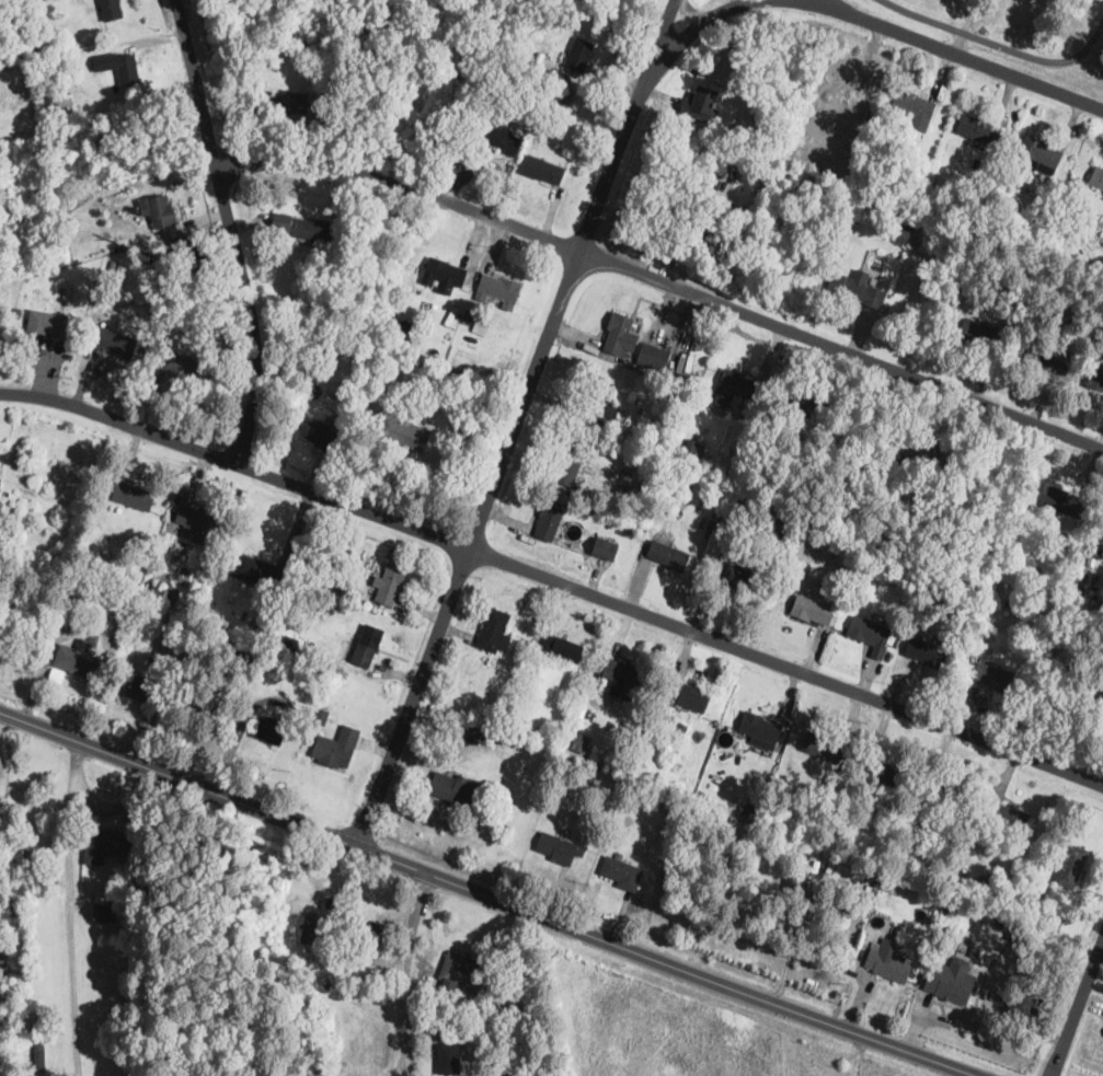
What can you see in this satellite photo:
building: (22, 0)
building: (111, 10)
road: (876, 25)
road: (965, 26)
road: (999, 43)
building: (35, 49)
building: (579, 54)
building: (79, 57)
building: (127, 69)
building: (524, 70)
building: (168, 86)
building: (561, 94)
building: (291, 101)
building: (699, 101)
building: (51, 111)
building: (553, 111)
building: (914, 111)
building: (736, 126)
building: (977, 128)
building: (493, 132)
building: (1042, 154)
building: (906, 157)
building: (976, 162)
building: (915, 163)
building: (543, 170)
building: (710, 177)
building: (1098, 177)
building: (889, 183)
building: (956, 187)
building: (161, 211)
road: (237, 228)
building: (308, 228)
building: (905, 228)
building: (714, 231)
building: (1041, 242)
building: (112, 266)
building: (444, 275)
road: (665, 284)
building: (497, 288)
building: (855, 289)
building: (1060, 304)
building: (292, 308)
building: (16, 311)
building: (450, 314)
building: (468, 316)
building: (47, 322)
building: (480, 326)
building: (404, 331)
building: (979, 332)
building: (618, 334)
building: (115, 342)
building: (467, 349)
building: (653, 357)
building: (1043, 357)
building: (181, 365)
building: (1095, 377)
building: (737, 385)
building: (604, 404)
building: (807, 405)
road: (515, 421)
building: (403, 431)
building: (318, 432)
building: (648, 433)
building: (693, 449)
building: (920, 462)
building: (568, 464)
building: (0, 481)
building: (729, 483)
building: (678, 490)
building: (133, 495)
building: (1064, 501)
building: (892, 508)
building: (549, 519)
building: (195, 520)
building: (713, 520)
building: (731, 530)
building: (893, 532)
building: (10, 534)
building: (605, 548)
building: (668, 556)
building: (1091, 559)
building: (123, 563)
building: (309, 570)
building: (258, 572)
building: (742, 576)
road: (553, 580)
building: (389, 583)
building: (81, 587)
building: (92, 592)
building: (158, 592)
building: (81, 600)
building: (811, 610)
building: (261, 625)
building: (493, 629)
building: (218, 635)
building: (871, 635)
building: (367, 645)
building: (101, 646)
building: (561, 647)
building: (926, 651)
building: (150, 660)
building: (79, 663)
building: (313, 671)
building: (624, 672)
building: (995, 676)
building: (139, 687)
building: (704, 689)
building: (310, 695)
building: (693, 698)
building: (1098, 706)
building: (205, 707)
building: (487, 711)
building: (643, 713)
building: (486, 717)
building: (495, 717)
road: (2, 719)
building: (319, 719)
building: (759, 727)
building: (677, 729)
building: (268, 730)
building: (474, 736)
building: (485, 738)
building: (654, 739)
building: (578, 742)
building: (823, 745)
building: (336, 747)
building: (678, 750)
building: (883, 772)
building: (456, 790)
building: (945, 790)
building: (811, 794)
building: (747, 811)
building: (621, 812)
building: (1006, 817)
building: (104, 844)
building: (559, 848)
building: (619, 855)
building: (1070, 866)
building: (621, 872)
building: (874, 879)
building: (984, 881)
building: (91, 892)
road: (487, 894)
building: (935, 905)
road: (69, 909)
building: (104, 910)
building: (312, 927)
building: (370, 937)
building: (975, 950)
road: (965, 956)
road: (996, 956)
building: (291, 958)
building: (886, 962)
building: (2, 965)
road: (405, 972)
building: (459, 975)
building: (951, 981)
road: (988, 985)
road: (998, 988)
building: (381, 998)
building: (300, 999)
road: (1037, 1004)
road: (974, 1006)
road: (981, 1006)
road: (1077, 1006)
road: (942, 1008)
building: (302, 1011)
building: (296, 1017)
building: (497, 1019)
road: (935, 1019)
road: (917, 1020)
road: (1036, 1023)
building: (448, 1057)
building: (38, 1060)
road: (964, 1074)

